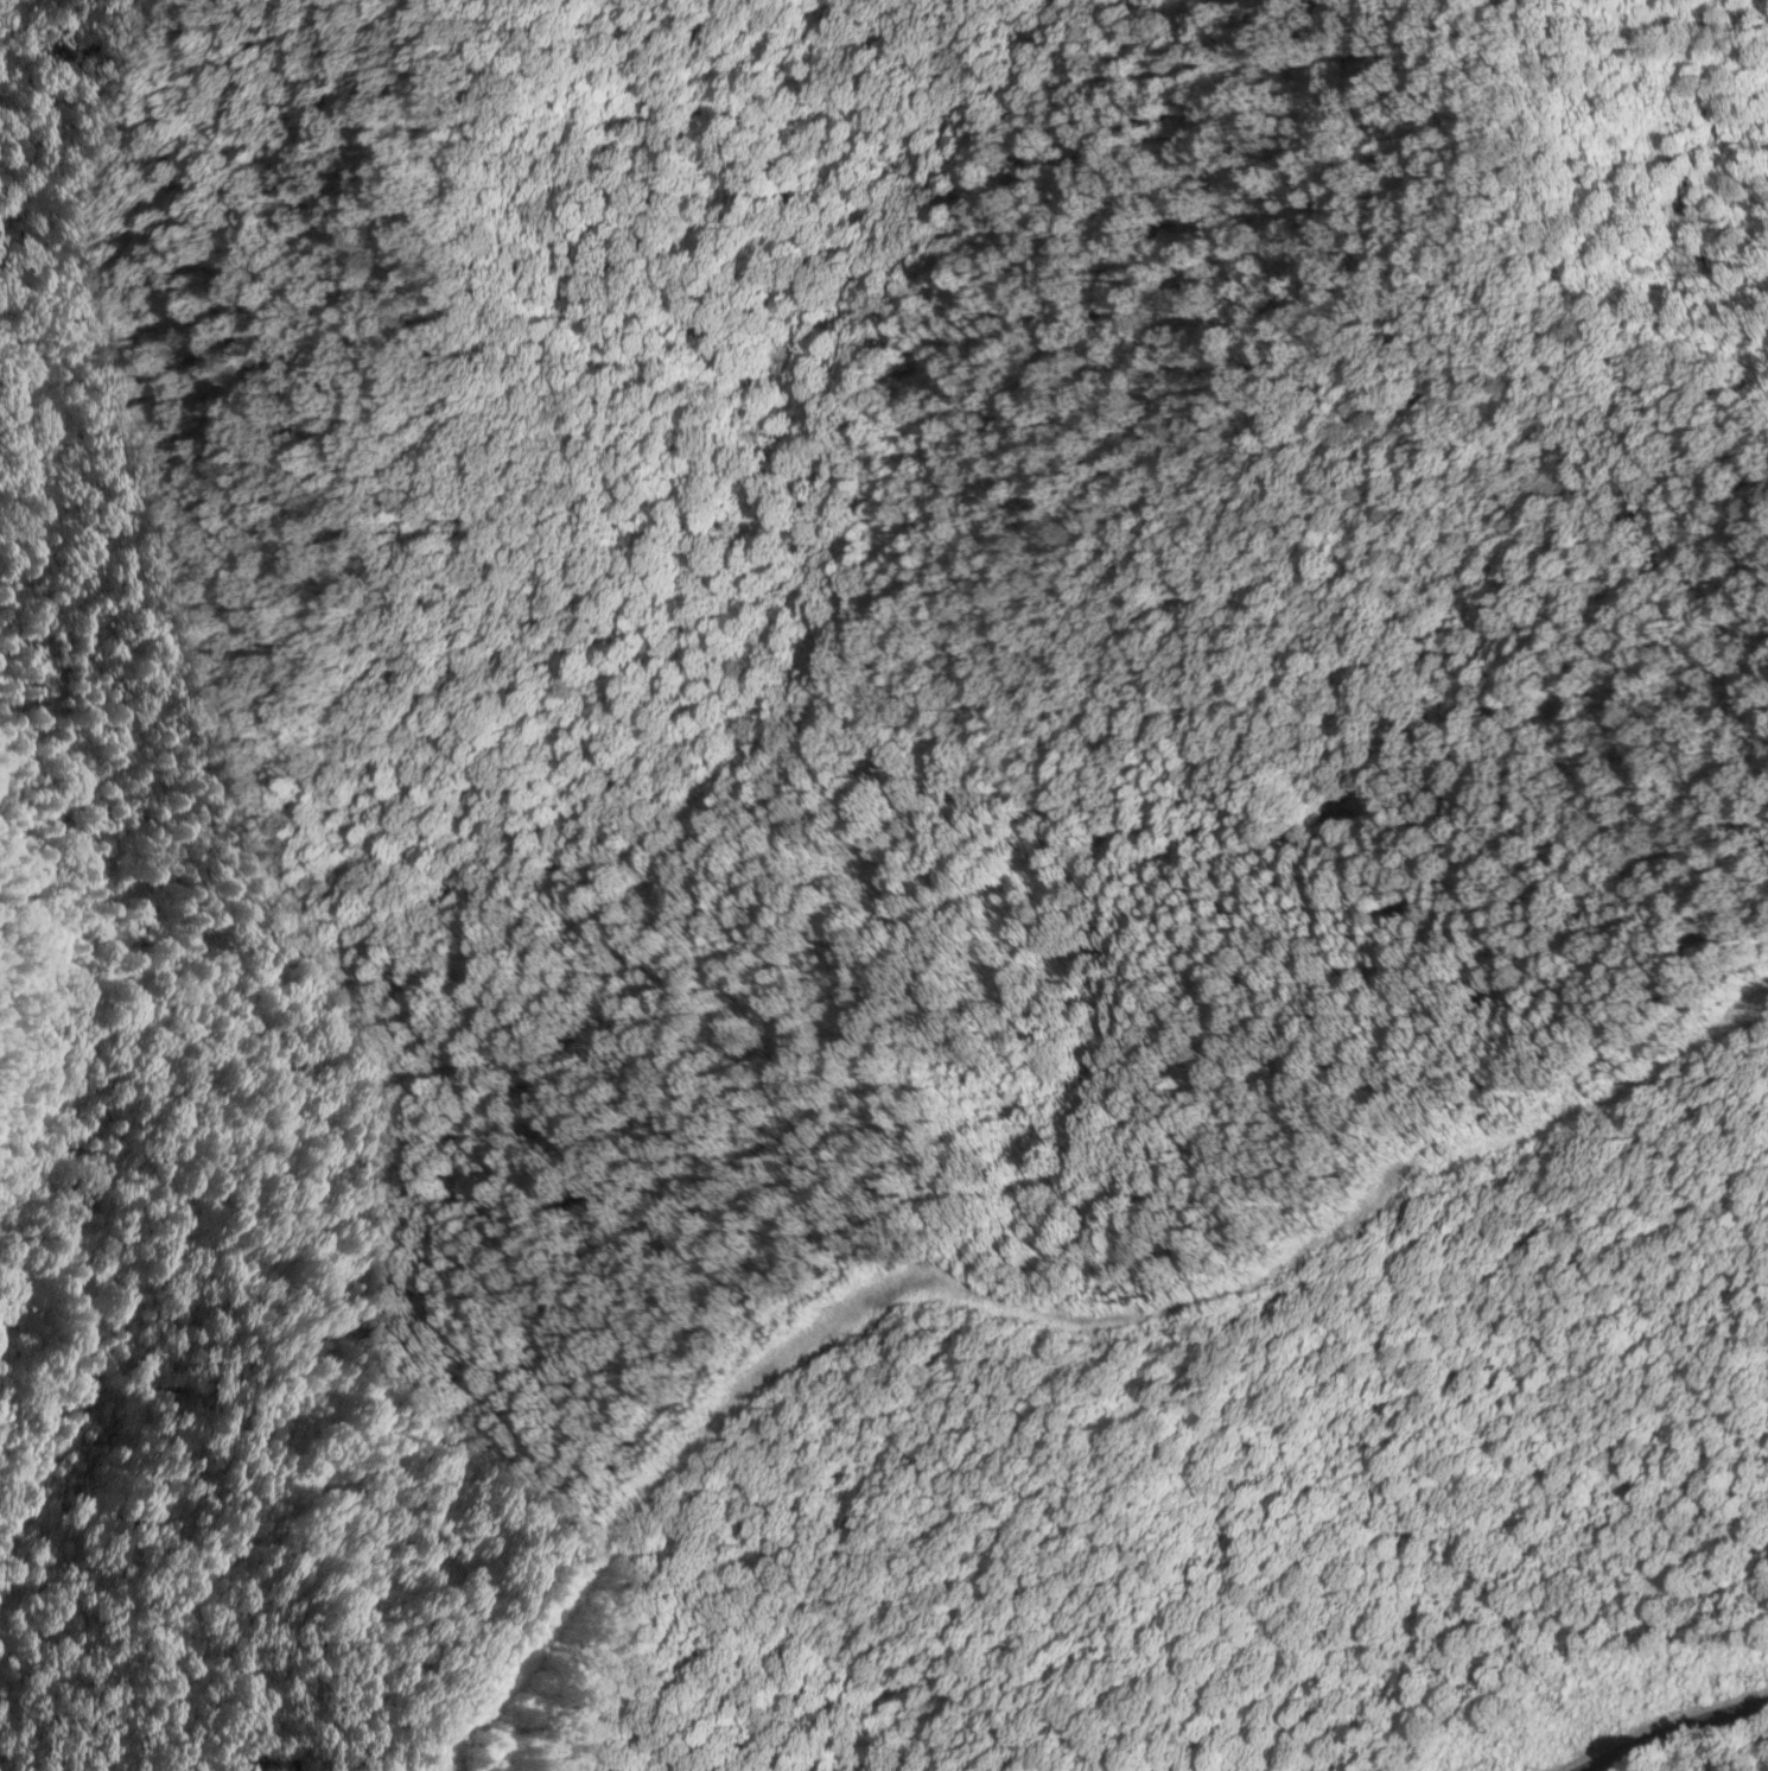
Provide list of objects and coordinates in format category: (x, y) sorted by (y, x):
road: (1670, 1727)

